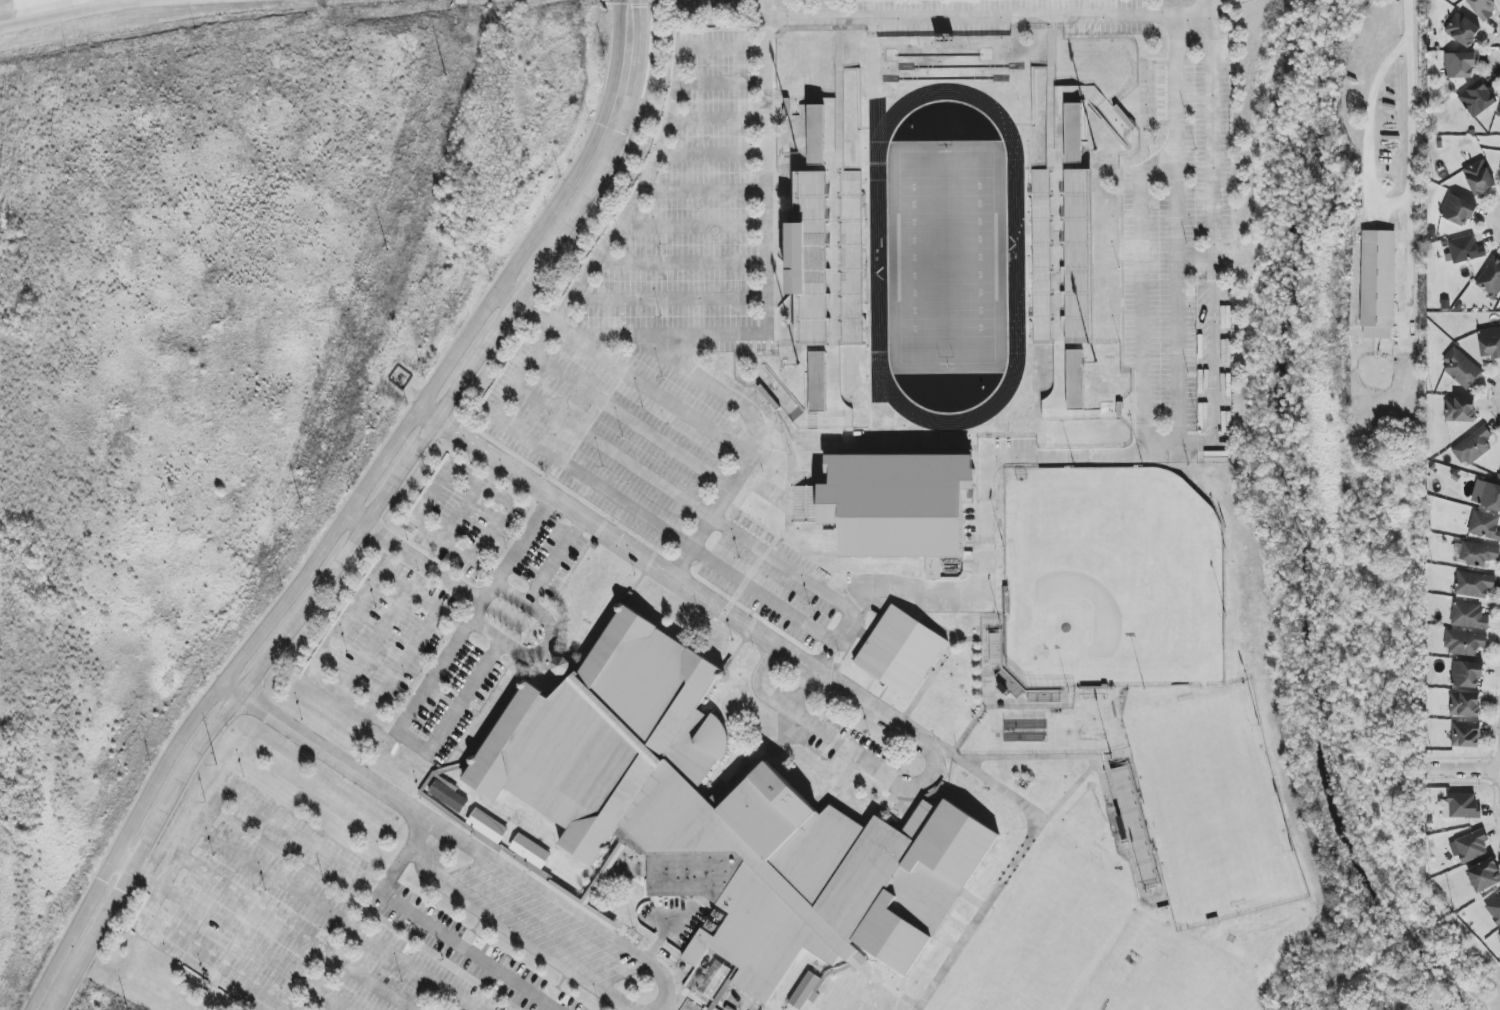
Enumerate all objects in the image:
road: (80, 11)
road: (988, 18)
building: (1462, 30)
building: (1459, 65)
road: (722, 82)
building: (1477, 99)
road: (1416, 101)
building: (1499, 113)
road: (719, 117)
building: (1075, 133)
building: (817, 135)
road: (1376, 138)
road: (713, 153)
road: (608, 161)
building: (1479, 178)
road: (704, 190)
building: (1458, 210)
road: (694, 225)
building: (1465, 249)
track: (875, 257)
park: (944, 257)
building: (1080, 257)
building: (827, 260)
road: (682, 261)
road: (767, 266)
building: (1490, 278)
building: (1377, 284)
road: (508, 294)
road: (670, 297)
building: (1490, 343)
building: (1461, 368)
road: (520, 376)
road: (634, 378)
building: (819, 381)
building: (1076, 396)
building: (1460, 409)
road: (428, 414)
road: (632, 423)
building: (1473, 446)
road: (754, 447)
road: (613, 452)
road: (1097, 455)
road: (369, 482)
road: (482, 485)
building: (1486, 495)
building: (900, 507)
road: (464, 511)
road: (357, 519)
building: (1484, 525)
road: (459, 546)
building: (1475, 553)
road: (555, 560)
road: (424, 563)
park: (1110, 579)
road: (682, 583)
building: (1473, 584)
stadium: (1098, 591)
road: (423, 598)
road: (474, 613)
building: (1469, 616)
road: (346, 623)
road: (375, 642)
building: (1464, 643)
road: (549, 645)
road: (274, 648)
building: (901, 651)
road: (823, 660)
road: (405, 661)
building: (562, 666)
building: (1466, 674)
road: (230, 690)
road: (467, 695)
building: (1465, 704)
road: (371, 714)
building: (1465, 734)
road: (841, 743)
road: (334, 756)
road: (1464, 768)
building: (448, 794)
park: (1210, 804)
stadium: (1198, 805)
building: (1461, 806)
building: (722, 817)
road: (283, 828)
building: (487, 829)
road: (233, 844)
building: (1471, 846)
building: (531, 851)
road: (125, 860)
road: (392, 869)
building: (1484, 875)
road: (563, 904)
building: (1494, 909)
road: (502, 927)
building: (1499, 933)
road: (467, 951)
road: (187, 953)
road: (327, 967)
road: (420, 967)
road: (48, 977)
building: (714, 979)
building: (806, 991)

